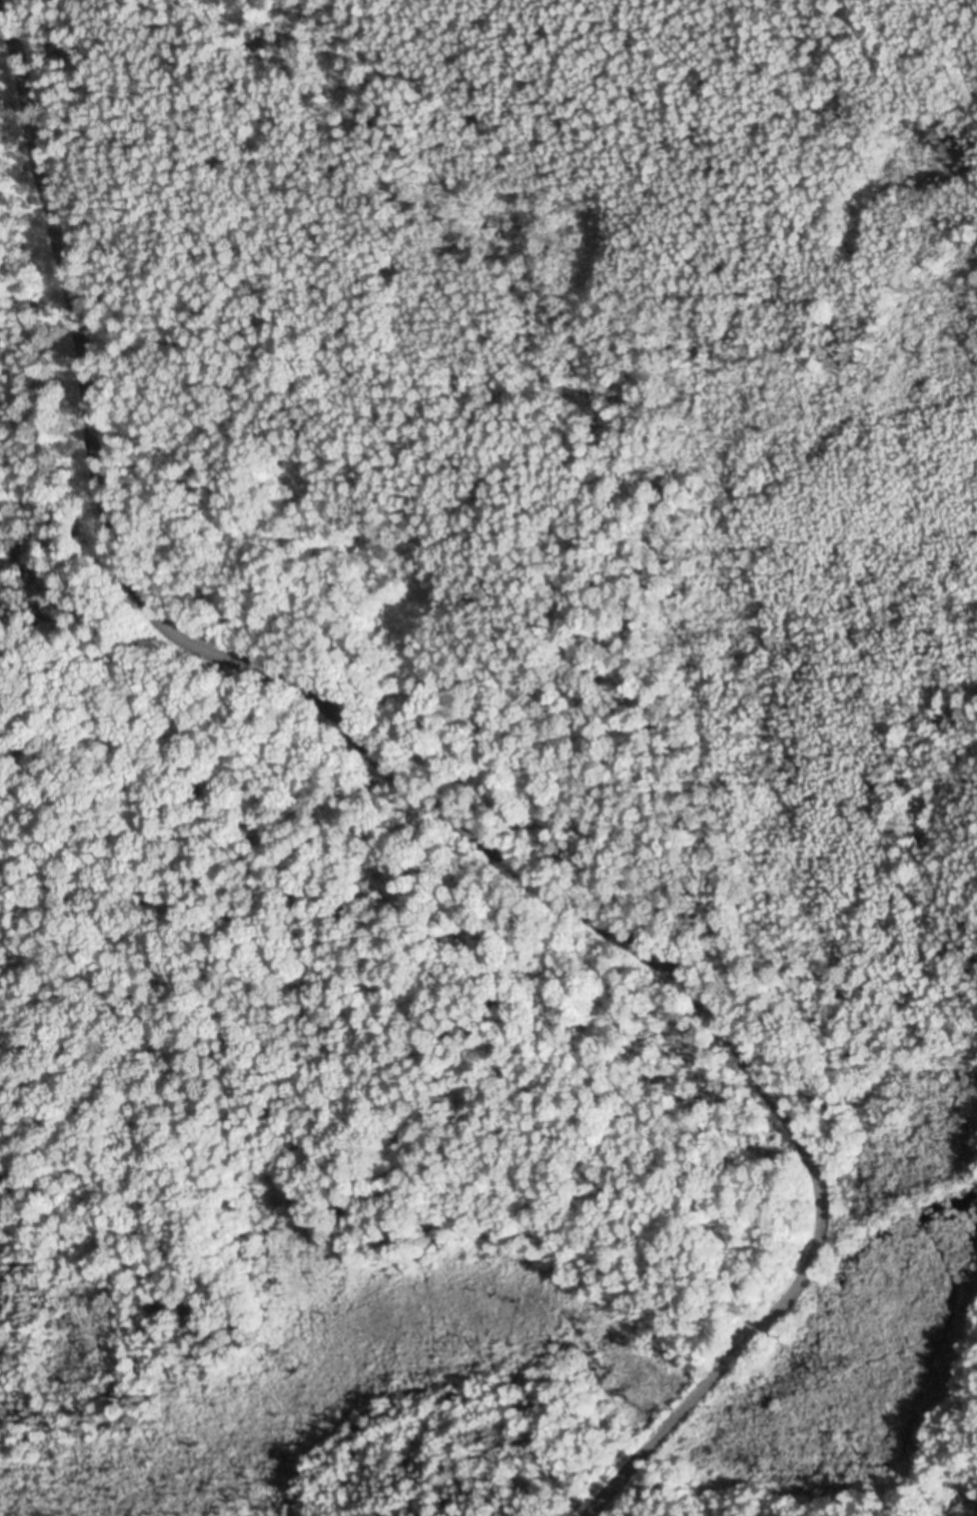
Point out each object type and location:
road: (429, 815)

